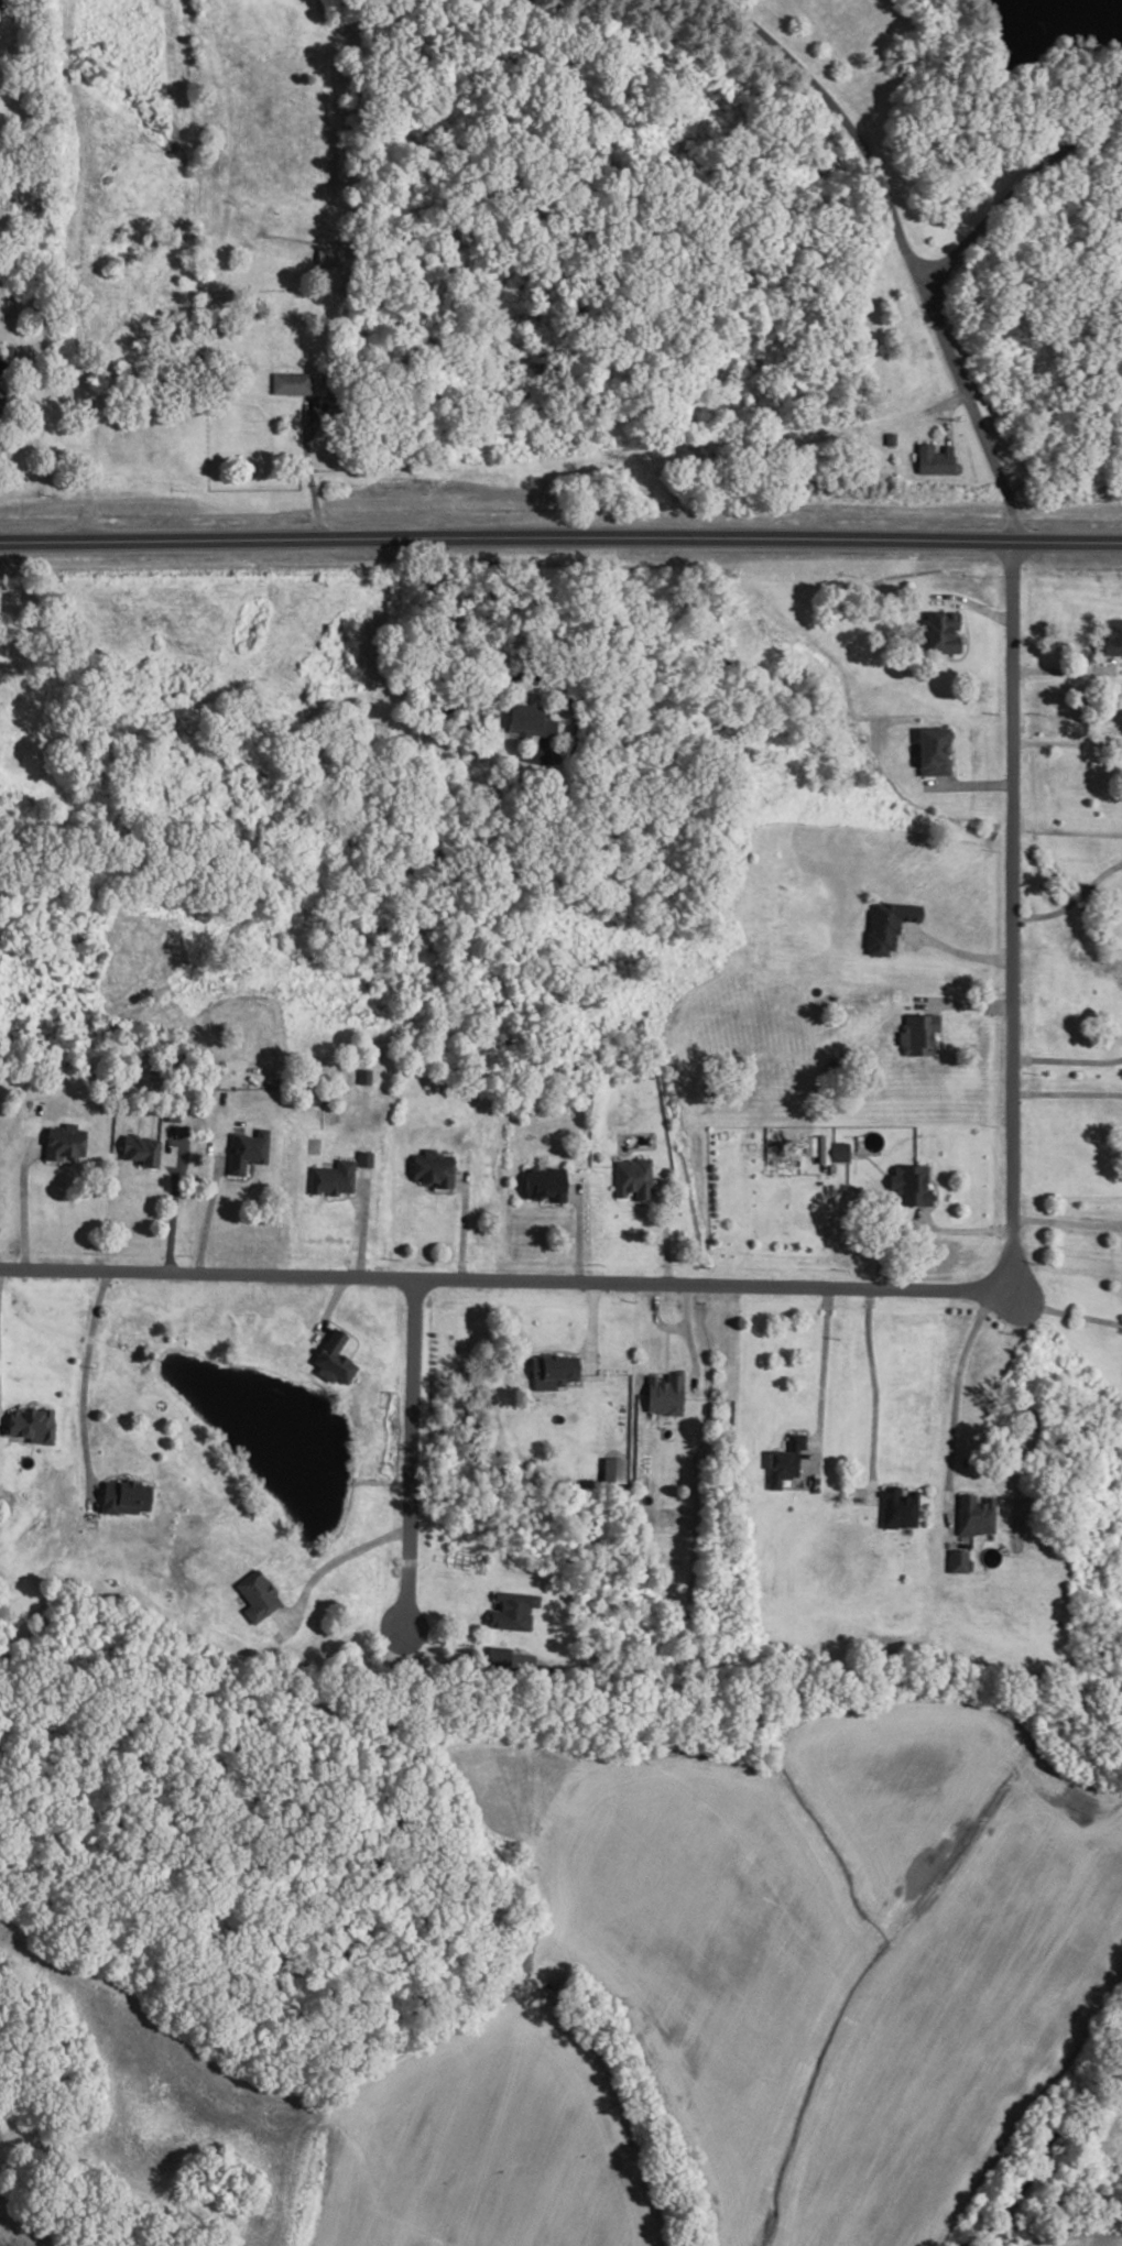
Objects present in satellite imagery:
road: (1011, 192)
road: (902, 248)
building: (329, 257)
road: (67, 270)
building: (288, 385)
building: (0, 401)
road: (945, 413)
building: (887, 439)
building: (930, 460)
road: (306, 471)
road: (560, 538)
road: (971, 606)
building: (937, 633)
road: (965, 639)
building: (1110, 639)
road: (1090, 647)
road: (1059, 672)
road: (467, 699)
building: (526, 722)
road: (1066, 744)
building: (932, 751)
road: (967, 785)
road: (1070, 902)
road: (1011, 909)
building: (886, 926)
road: (958, 953)
road: (962, 1006)
building: (916, 1033)
road: (1066, 1061)
road: (1066, 1094)
building: (62, 1142)
building: (138, 1149)
building: (244, 1151)
building: (835, 1152)
building: (431, 1168)
road: (146, 1170)
building: (329, 1178)
building: (631, 1178)
road: (237, 1180)
building: (541, 1182)
building: (908, 1186)
road: (438, 1191)
road: (339, 1199)
road: (20, 1206)
road: (553, 1206)
road: (170, 1210)
road: (205, 1215)
road: (917, 1220)
road: (1065, 1223)
road: (359, 1225)
road: (459, 1225)
road: (923, 1231)
road: (663, 1233)
road: (575, 1235)
road: (499, 1279)
road: (327, 1308)
road: (1052, 1311)
road: (653, 1318)
road: (590, 1327)
road: (348, 1334)
road: (686, 1338)
road: (663, 1355)
building: (330, 1359)
road: (820, 1366)
building: (554, 1367)
road: (79, 1387)
road: (873, 1394)
building: (662, 1395)
road: (950, 1413)
building: (30, 1424)
road: (789, 1430)
road: (409, 1454)
building: (782, 1461)
building: (612, 1470)
building: (122, 1497)
building: (896, 1509)
building: (972, 1516)
road: (336, 1558)
building: (955, 1561)
building: (253, 1596)
building: (510, 1611)
road: (448, 1639)
building: (497, 1657)
crop: (1108, 2135)

